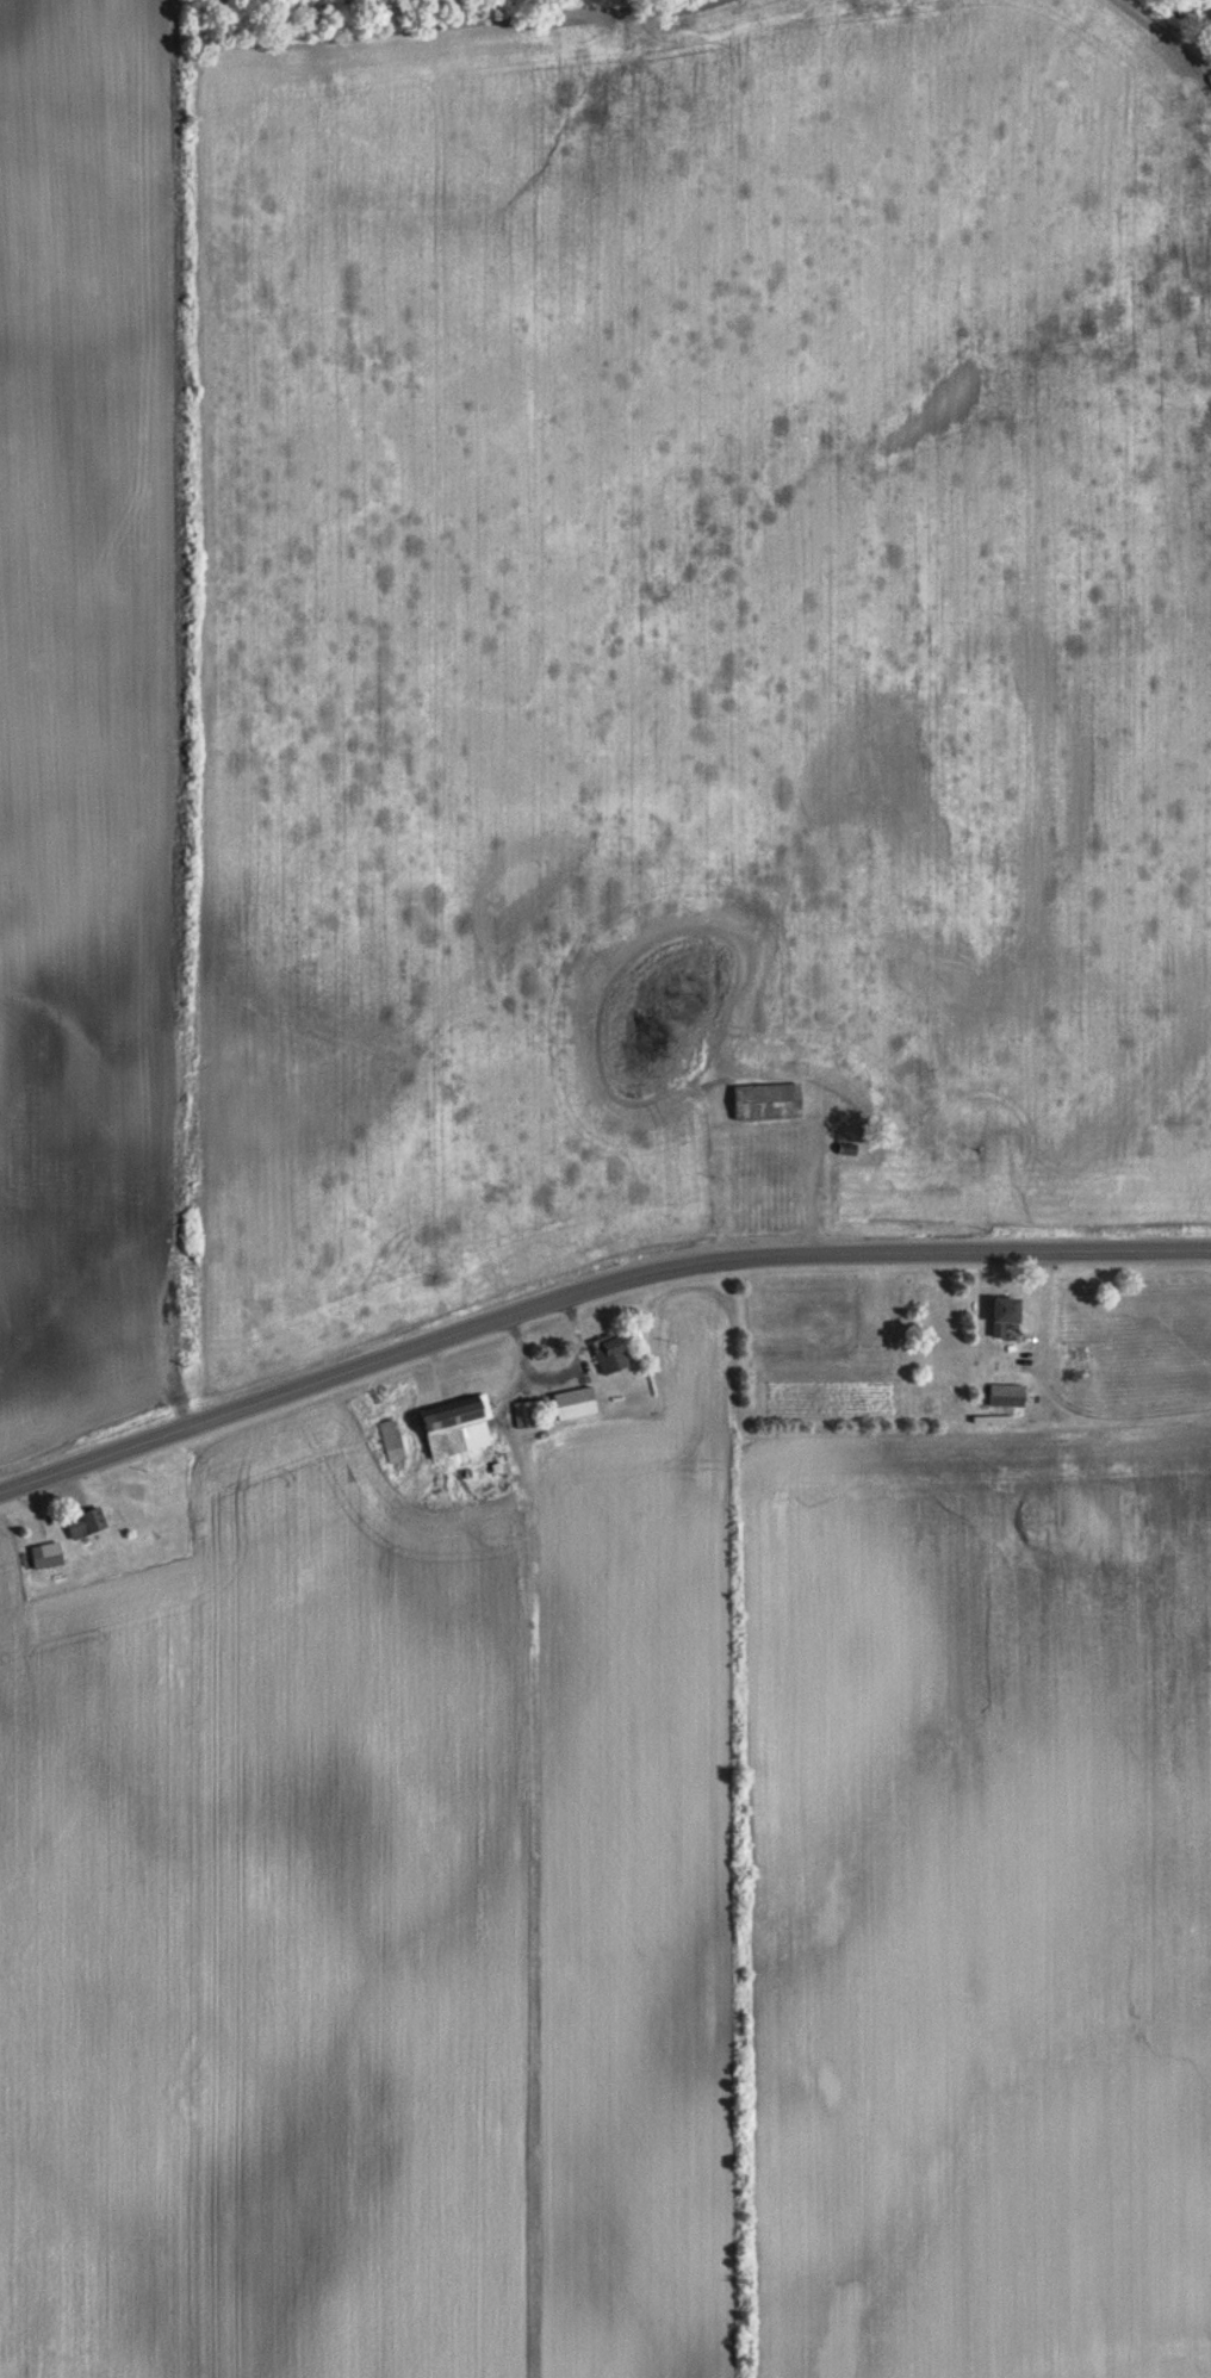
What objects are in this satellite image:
crop: (697, 610)
building: (766, 1100)
road: (590, 1294)
building: (1004, 1311)
building: (610, 1352)
building: (1006, 1392)
building: (575, 1401)
building: (526, 1411)
building: (455, 1424)
building: (85, 1520)
building: (45, 1553)
crop: (980, 1902)
crop: (375, 1938)

